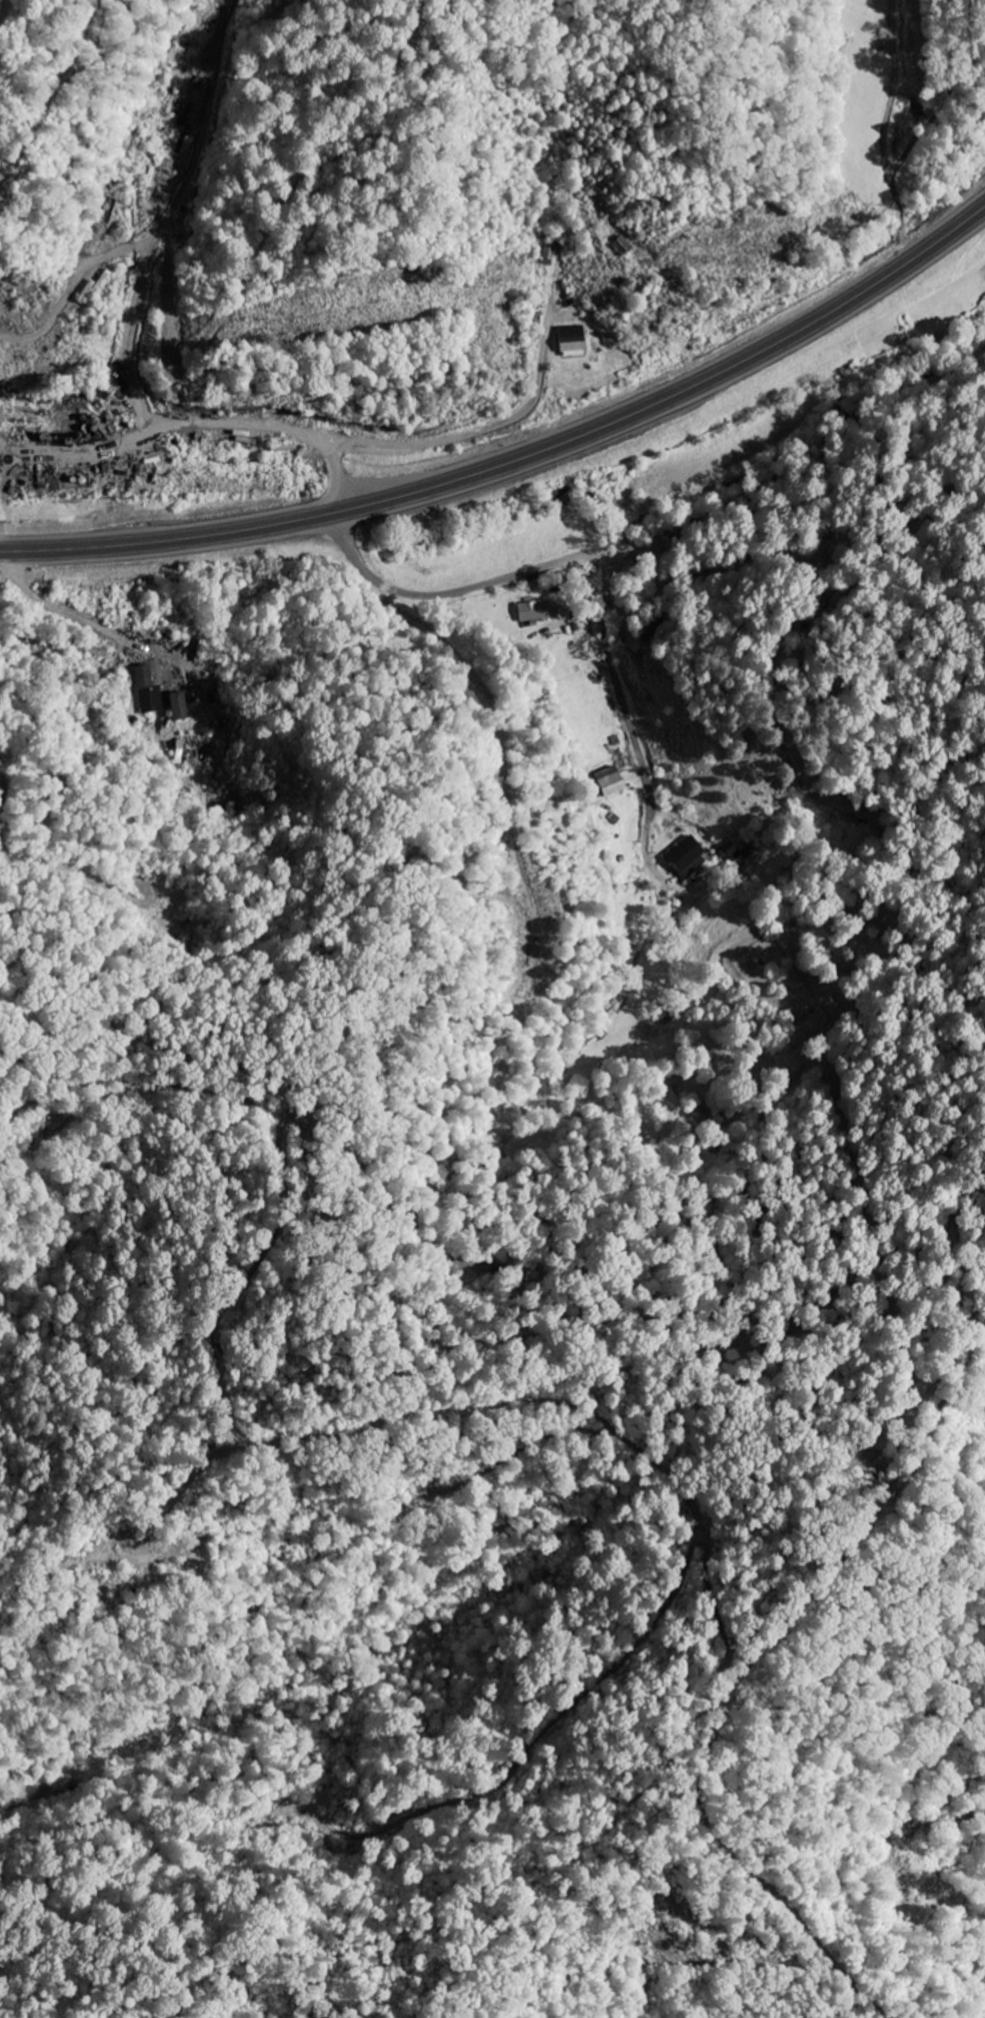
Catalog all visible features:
road: (906, 132)
building: (573, 343)
road: (519, 457)
road: (465, 587)
building: (536, 611)
road: (621, 670)
building: (149, 691)
building: (179, 706)
building: (612, 782)
building: (732, 854)
building: (689, 858)

